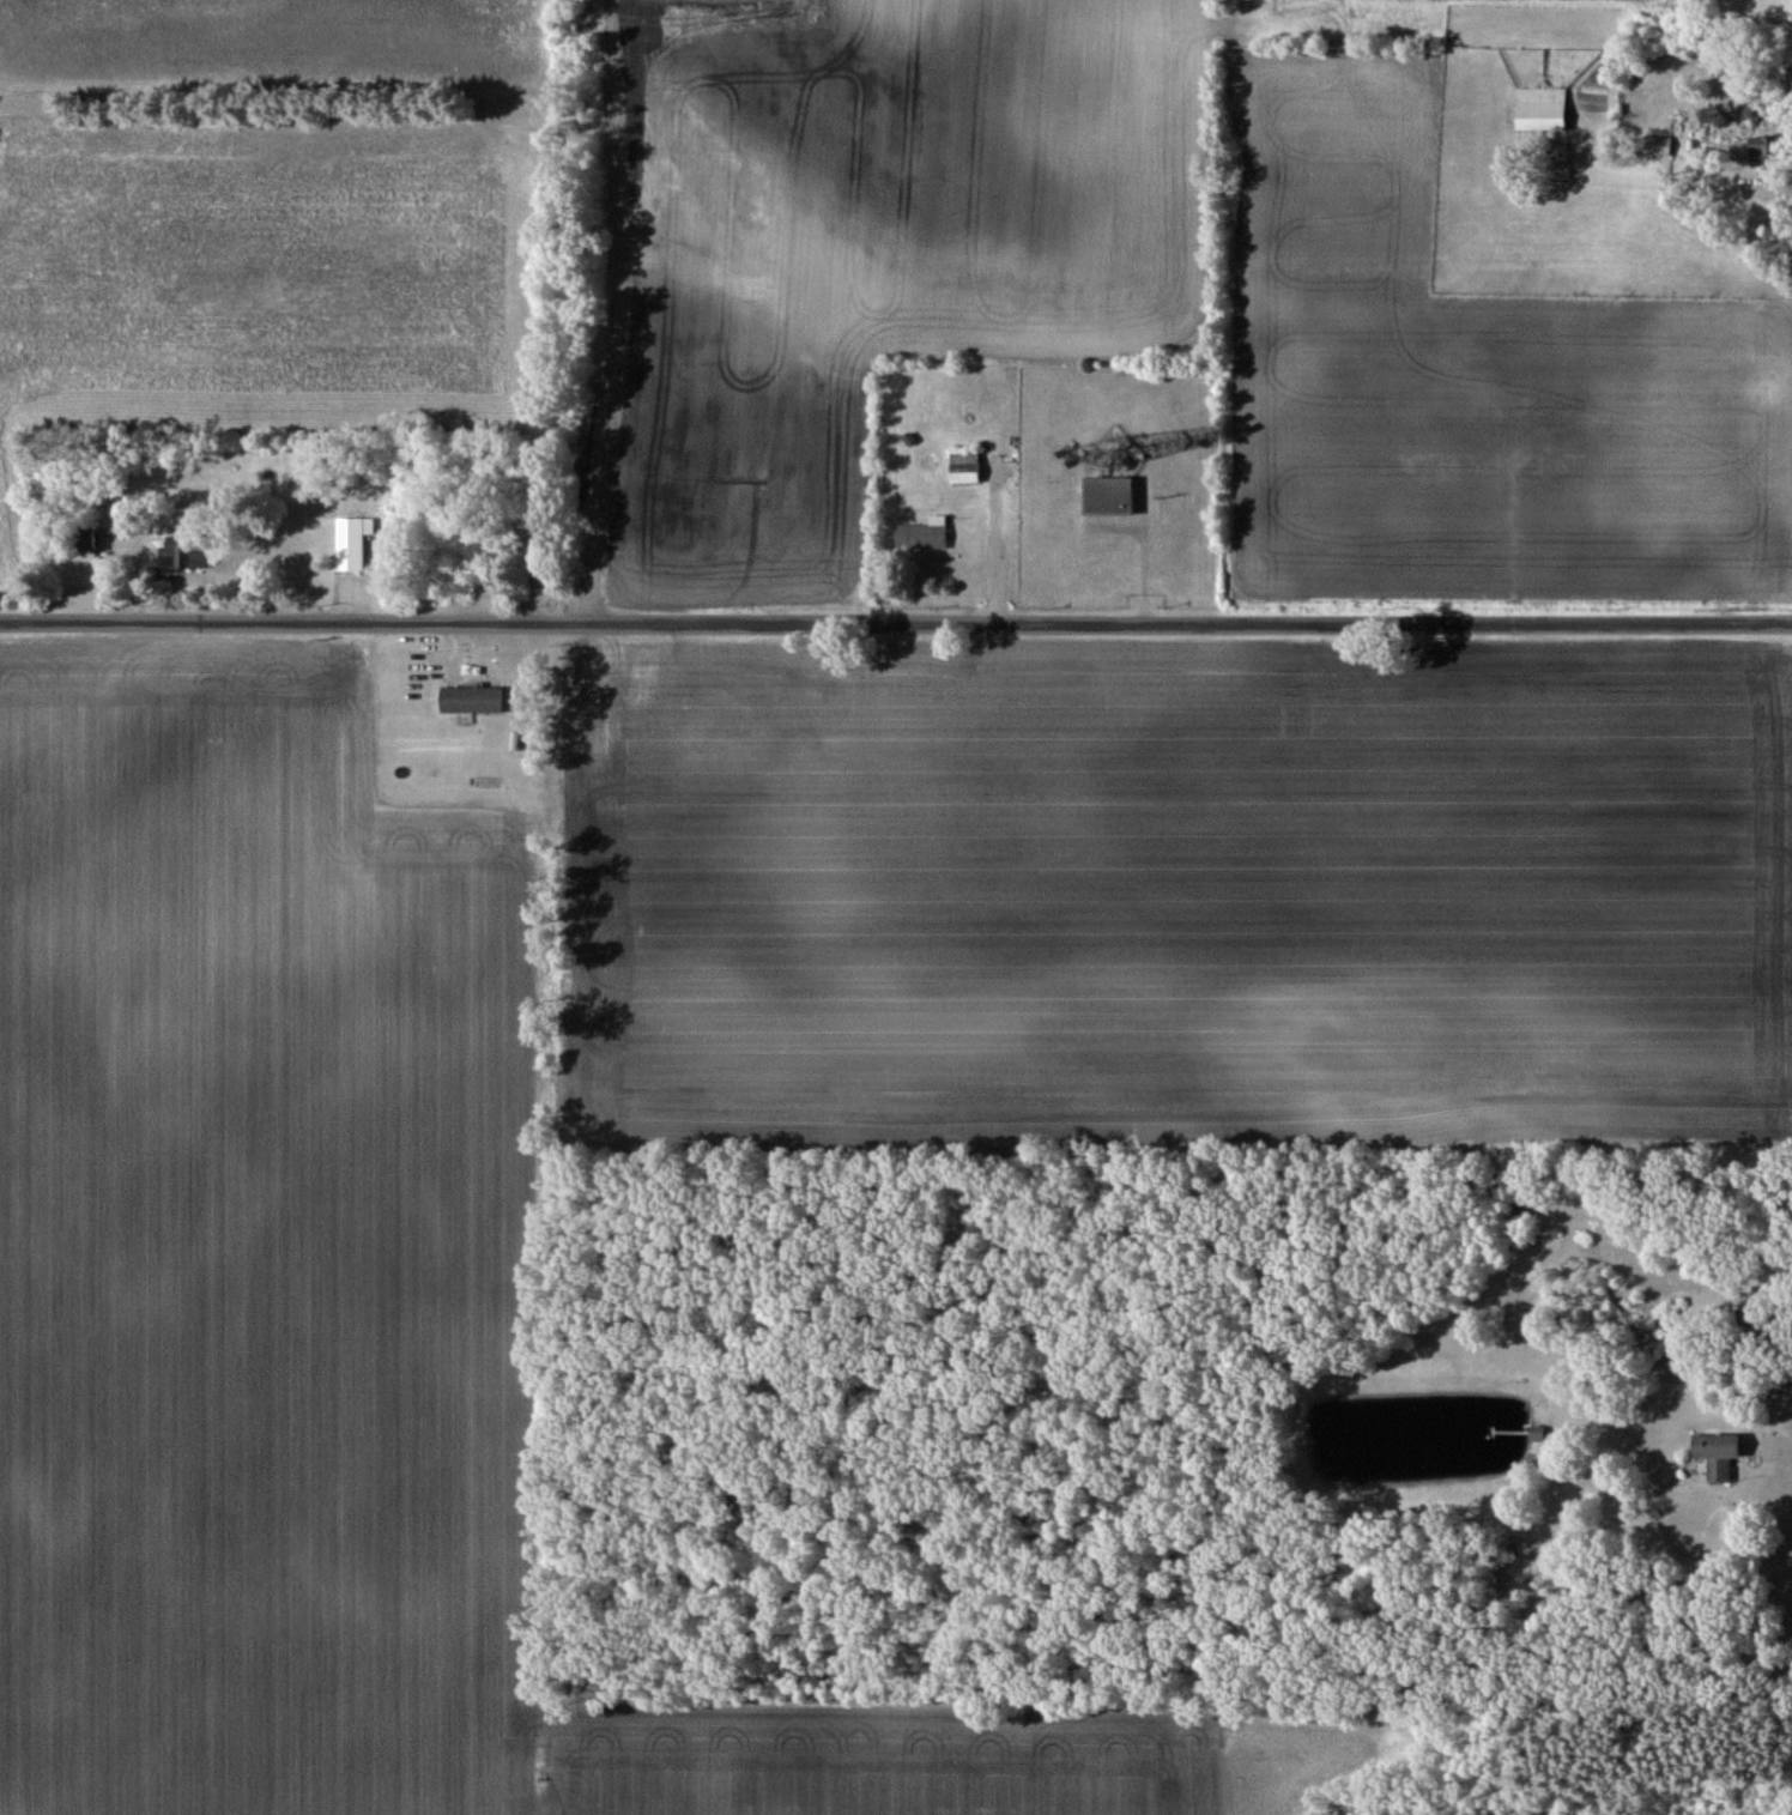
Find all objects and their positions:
building: (1544, 108)
building: (1658, 145)
building: (1769, 146)
building: (965, 467)
building: (1113, 495)
building: (925, 534)
building: (351, 543)
building: (93, 544)
road: (895, 622)
building: (473, 700)
building: (1537, 1432)
building: (1723, 1454)

